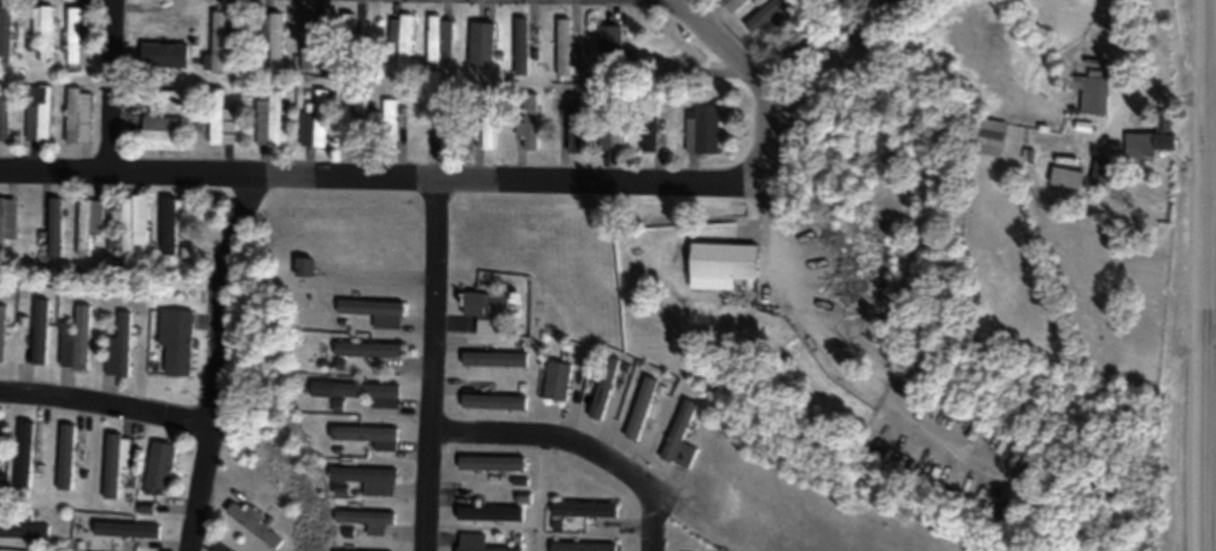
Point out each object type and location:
building: (844, 1)
building: (733, 5)
building: (765, 14)
building: (346, 24)
building: (5, 33)
building: (45, 35)
building: (80, 37)
building: (222, 39)
building: (439, 39)
building: (271, 42)
building: (403, 42)
building: (306, 43)
building: (481, 45)
building: (521, 46)
building: (610, 46)
building: (805, 46)
building: (563, 47)
building: (682, 48)
building: (165, 55)
road: (733, 57)
road: (109, 84)
building: (1092, 95)
building: (165, 96)
building: (40, 115)
building: (78, 117)
building: (4, 119)
building: (359, 119)
building: (221, 121)
building: (268, 122)
building: (530, 122)
building: (390, 123)
building: (573, 123)
building: (316, 124)
building: (448, 129)
building: (613, 131)
building: (703, 131)
building: (489, 133)
building: (650, 133)
building: (162, 134)
building: (990, 137)
building: (1152, 141)
road: (484, 170)
building: (1103, 172)
building: (1066, 178)
building: (7, 221)
building: (88, 224)
building: (168, 224)
building: (54, 227)
building: (130, 229)
building: (726, 263)
building: (304, 266)
building: (485, 311)
building: (374, 312)
building: (2, 333)
building: (40, 333)
building: (75, 341)
building: (175, 344)
building: (118, 348)
building: (366, 350)
road: (217, 359)
road: (425, 359)
building: (492, 359)
building: (556, 380)
building: (603, 387)
building: (358, 392)
road: (105, 400)
building: (492, 401)
building: (642, 408)
building: (369, 435)
building: (680, 436)
road: (574, 438)
building: (0, 451)
building: (25, 455)
building: (65, 457)
building: (116, 461)
building: (490, 463)
building: (159, 469)
building: (368, 479)
building: (489, 514)
building: (368, 520)
building: (253, 524)
building: (125, 529)
building: (24, 531)
building: (475, 543)
building: (583, 546)

